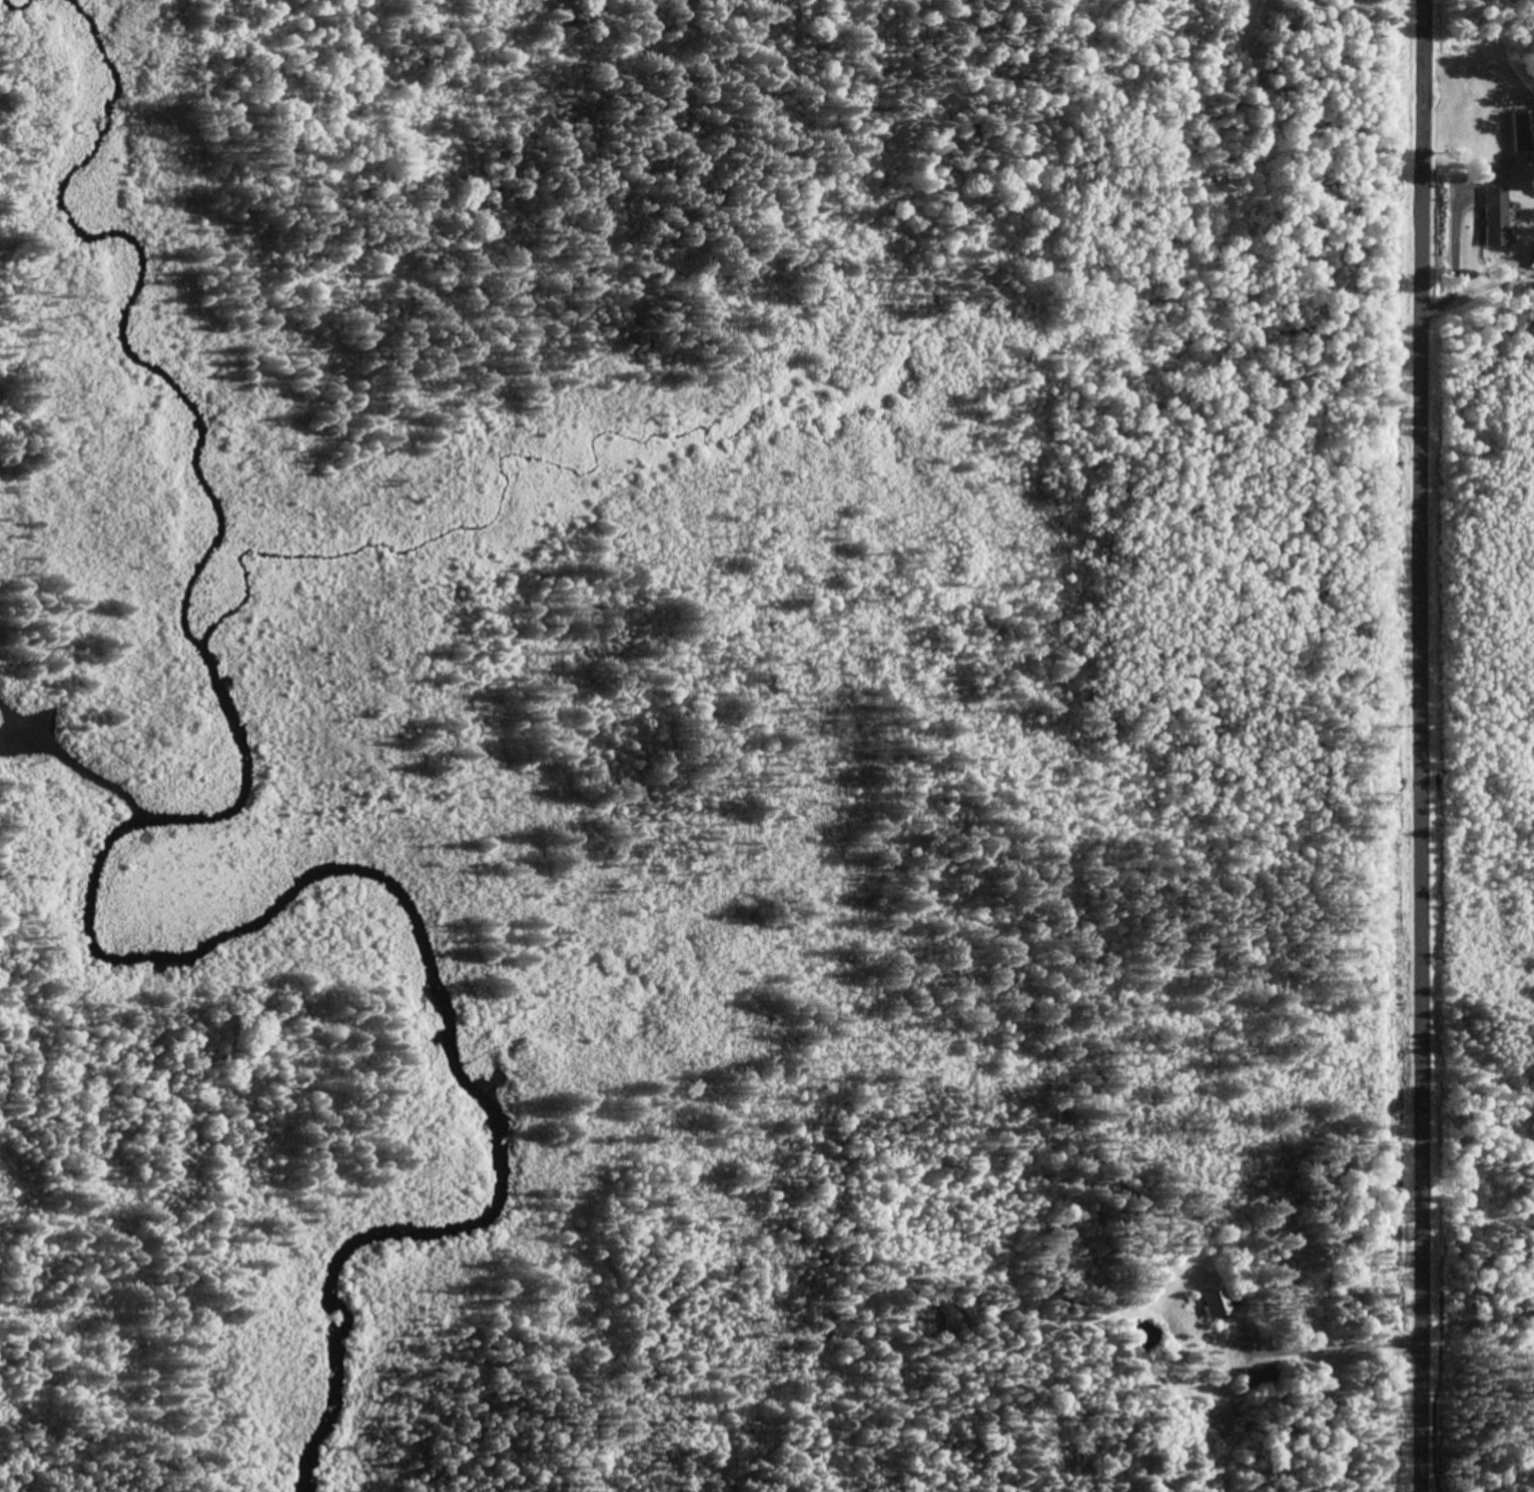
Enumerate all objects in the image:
building: (1523, 129)
building: (1493, 214)
road: (1421, 746)
building: (1219, 1301)
building: (1261, 1375)

